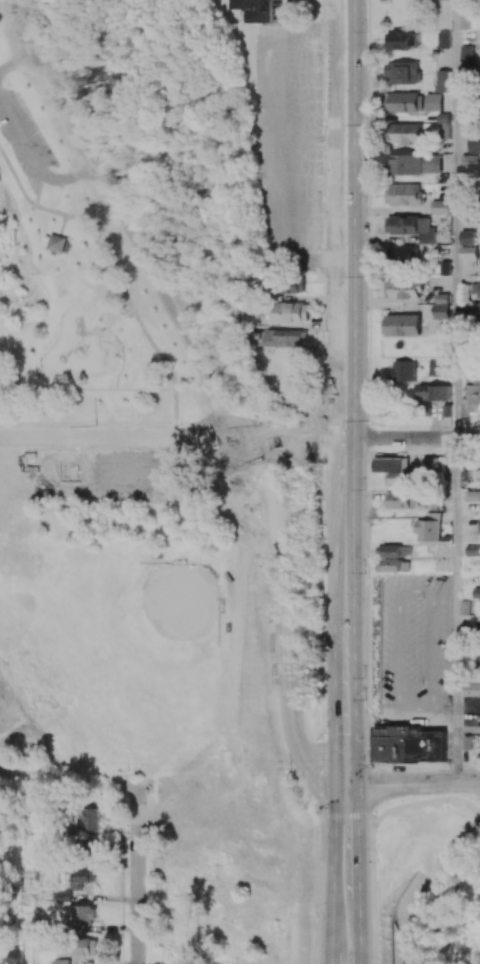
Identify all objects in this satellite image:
building: (264, 10)
building: (400, 40)
building: (444, 40)
building: (468, 53)
road: (15, 60)
building: (404, 72)
building: (443, 81)
building: (405, 102)
building: (434, 102)
building: (408, 134)
road: (19, 135)
parking lot: (23, 141)
building: (470, 163)
building: (408, 164)
building: (433, 164)
road: (14, 181)
road: (65, 182)
road: (37, 190)
building: (405, 194)
building: (441, 207)
road: (456, 219)
road: (62, 226)
building: (412, 227)
building: (468, 237)
building: (57, 245)
building: (469, 252)
building: (404, 254)
road: (116, 285)
building: (293, 285)
building: (404, 289)
building: (476, 290)
building: (443, 306)
building: (293, 312)
road: (113, 320)
building: (404, 325)
building: (287, 338)
building: (437, 367)
building: (404, 371)
road: (214, 384)
road: (86, 390)
road: (347, 390)
building: (433, 393)
road: (201, 409)
road: (120, 437)
road: (413, 437)
road: (175, 444)
road: (13, 456)
road: (163, 457)
building: (434, 465)
building: (393, 470)
parking lot: (87, 476)
road: (88, 476)
park: (154, 481)
building: (473, 496)
building: (402, 500)
building: (430, 531)
building: (473, 550)
building: (396, 559)
road: (444, 588)
building: (477, 592)
road: (457, 610)
park: (132, 650)
road: (404, 713)
road: (444, 717)
building: (410, 744)
traffic signals: (348, 782)
road: (414, 782)
road: (425, 803)
road: (479, 812)
road: (350, 817)
building: (91, 819)
road: (336, 872)
road: (359, 872)
building: (80, 878)
road: (426, 880)
road: (138, 882)
road: (375, 894)
building: (83, 917)
building: (76, 949)
building: (61, 961)

